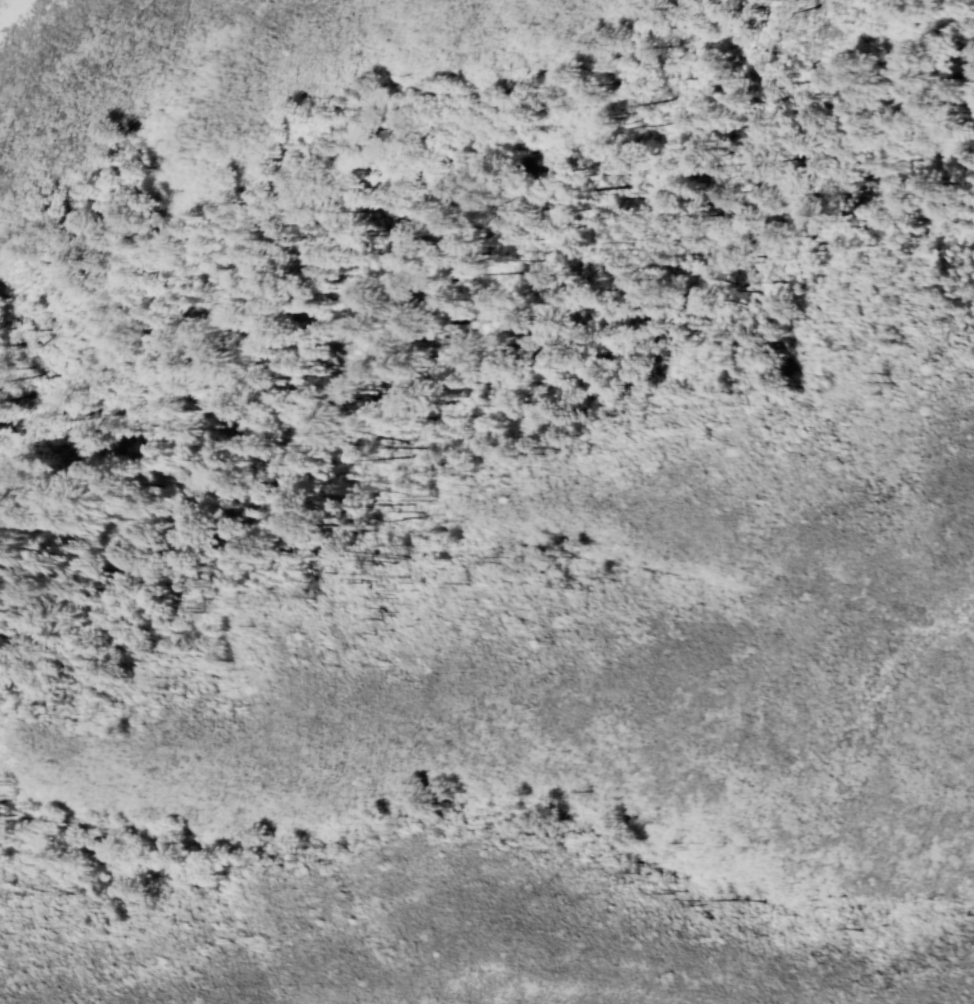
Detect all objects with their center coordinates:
road: (16, 12)

